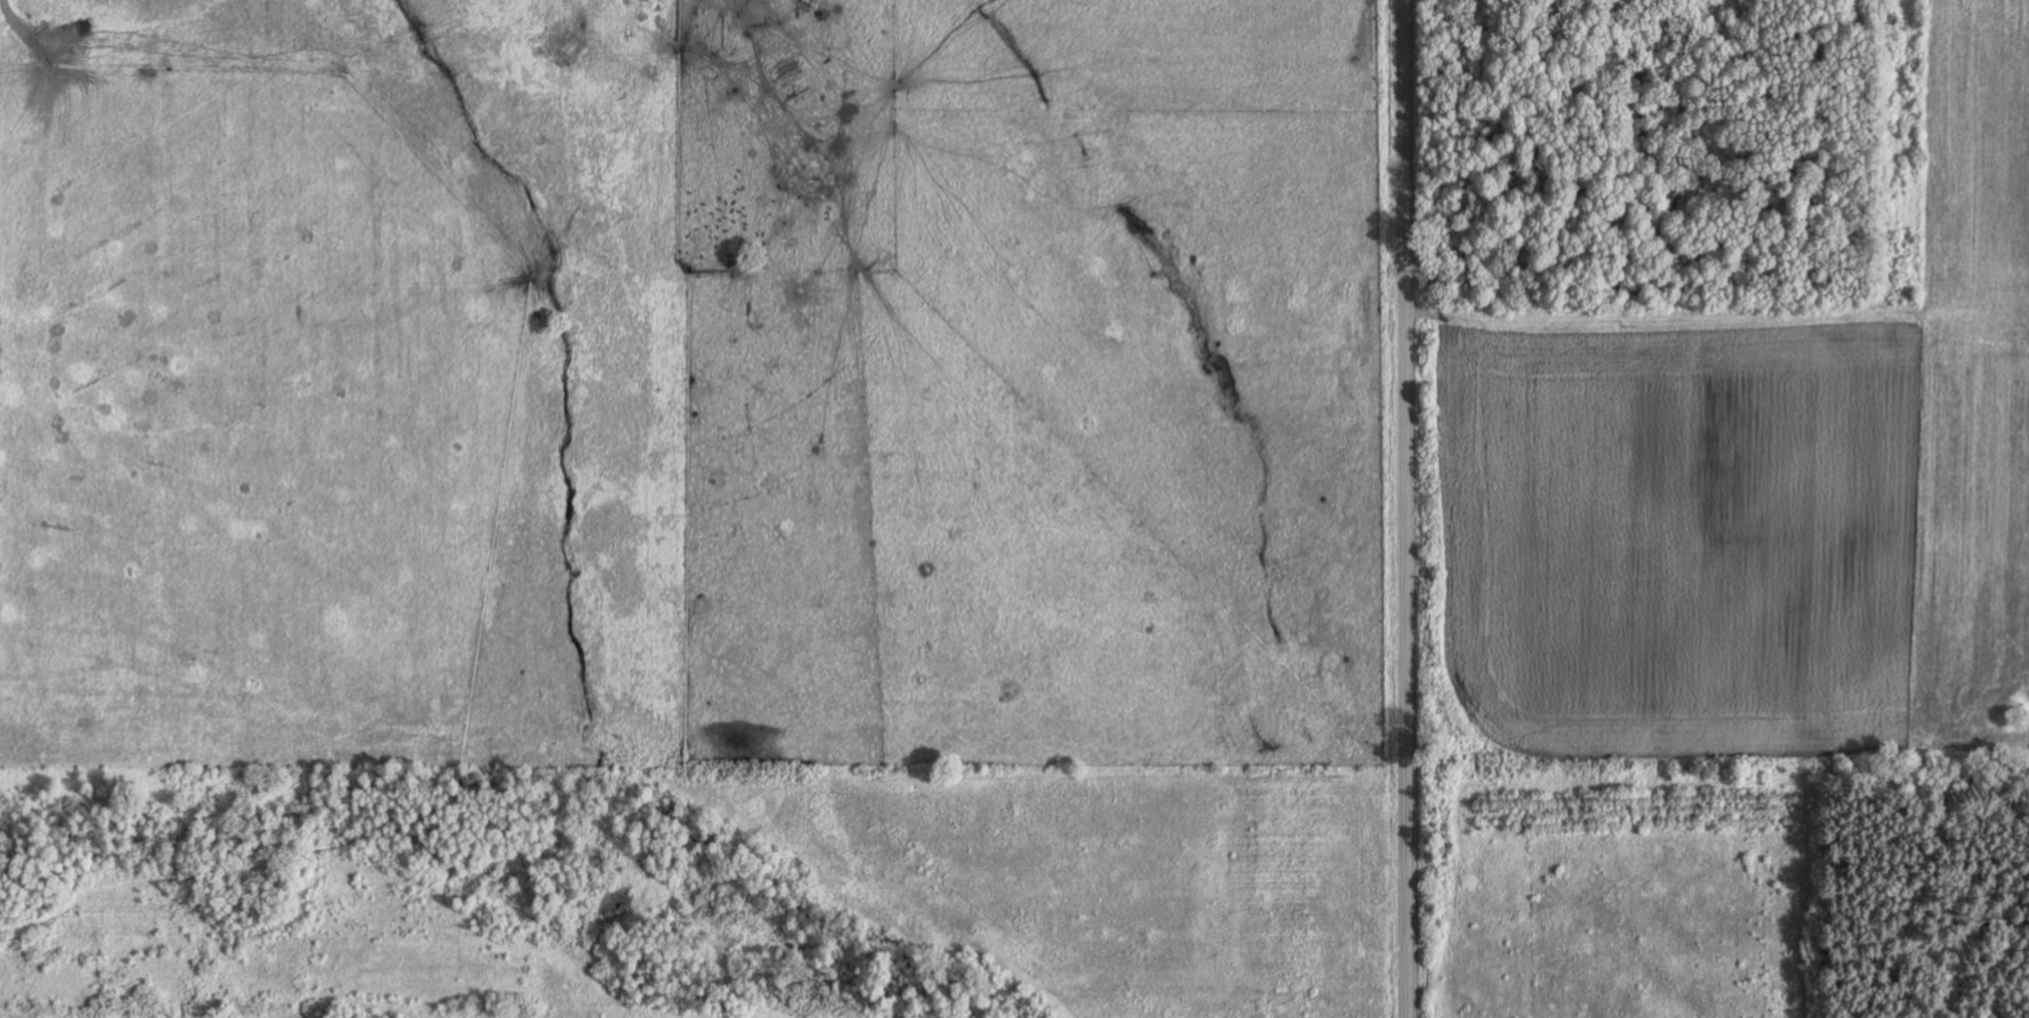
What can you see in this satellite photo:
road: (1399, 508)

